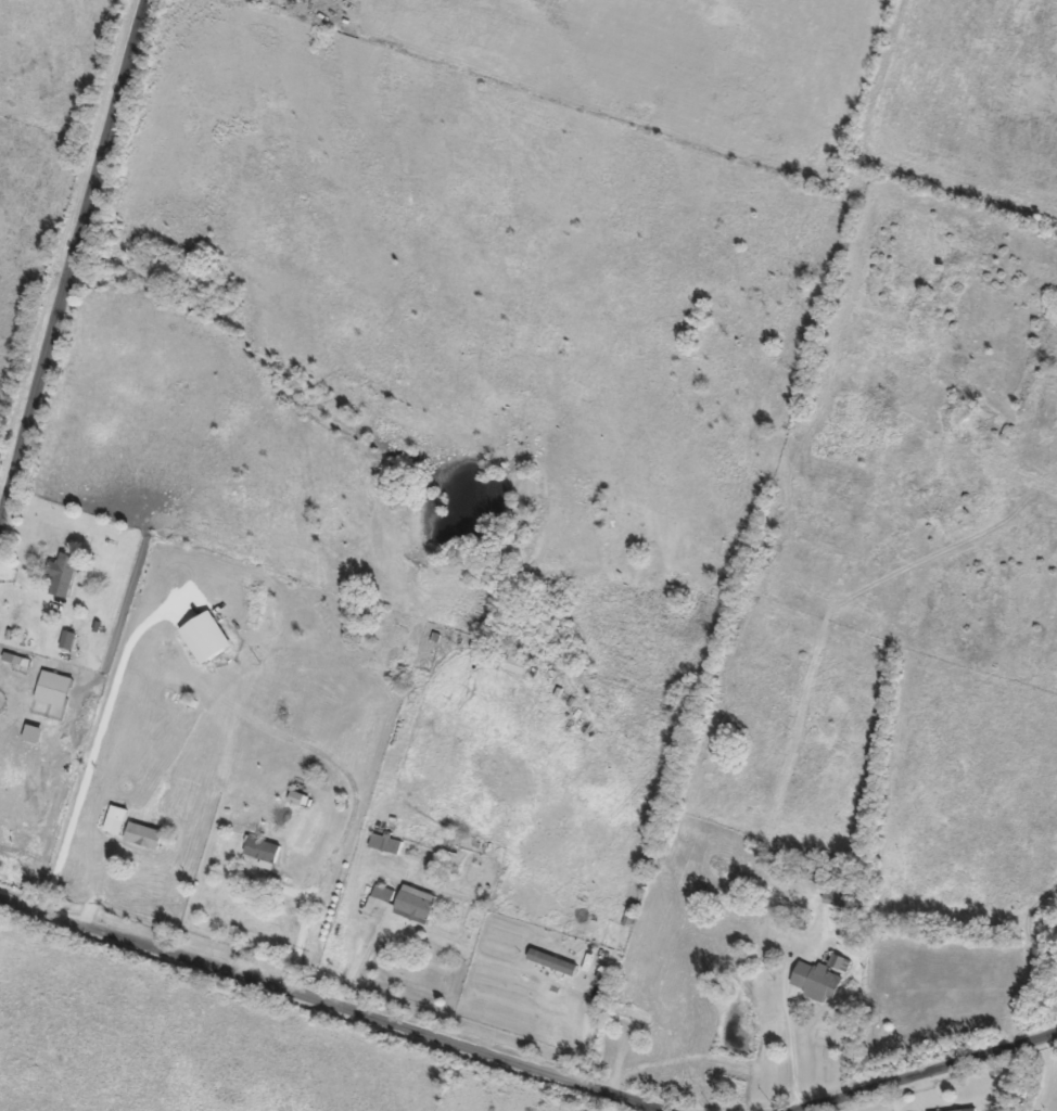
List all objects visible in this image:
road: (73, 259)
building: (61, 573)
building: (201, 636)
building: (64, 639)
building: (50, 688)
building: (28, 732)
building: (292, 797)
building: (112, 819)
building: (140, 835)
building: (259, 851)
building: (830, 896)
building: (377, 897)
building: (412, 901)
building: (549, 961)
building: (836, 961)
building: (813, 980)
road: (328, 1003)
road: (931, 1072)
road: (1046, 1075)
building: (963, 1110)

